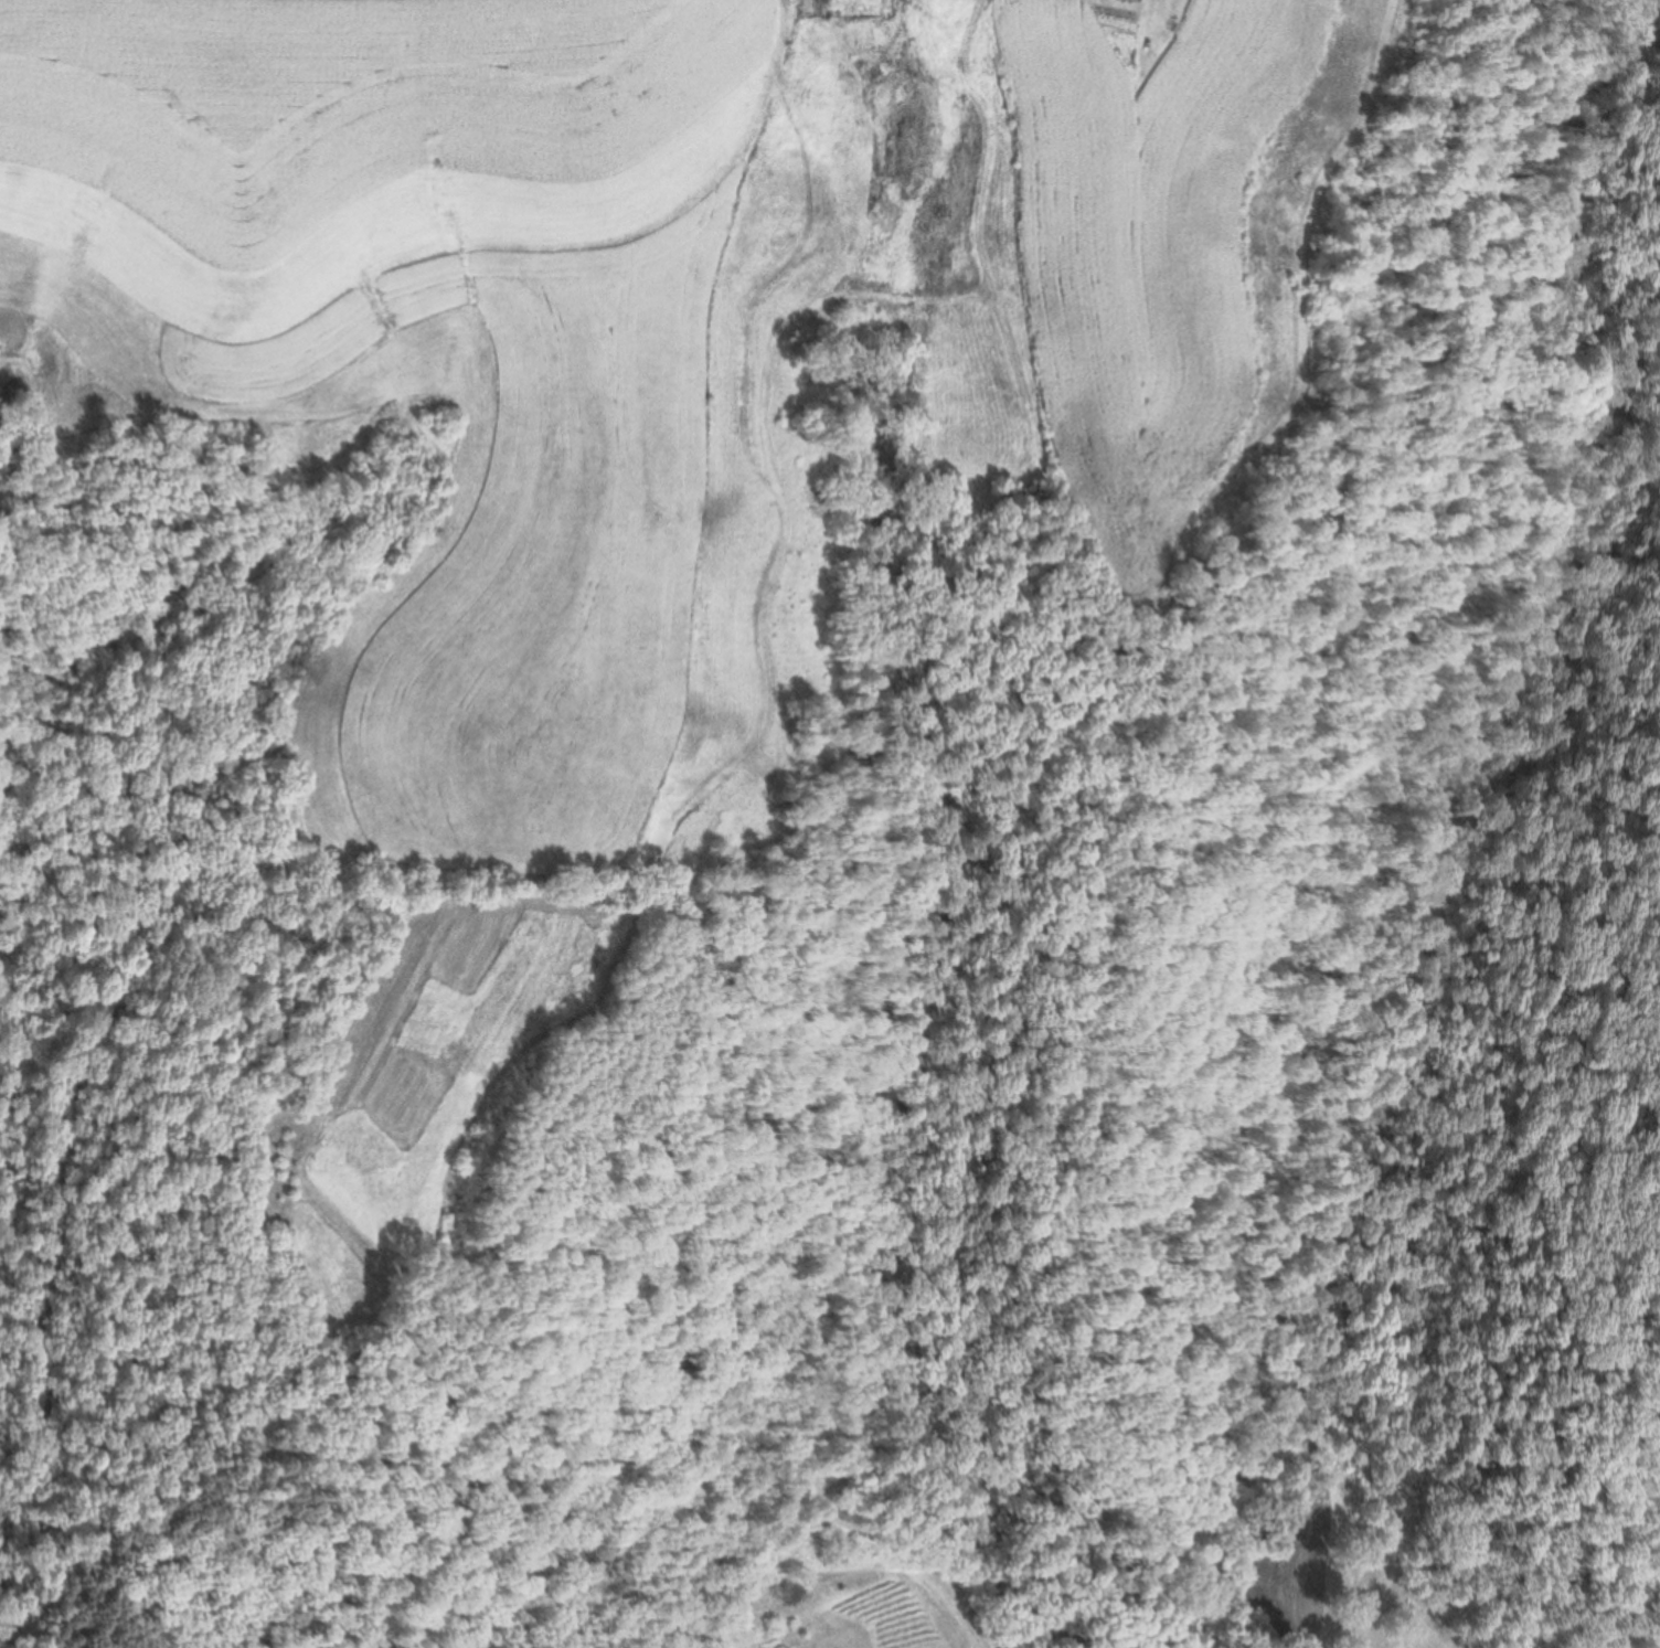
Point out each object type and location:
power tower: (182, 115)
road: (1654, 1642)

